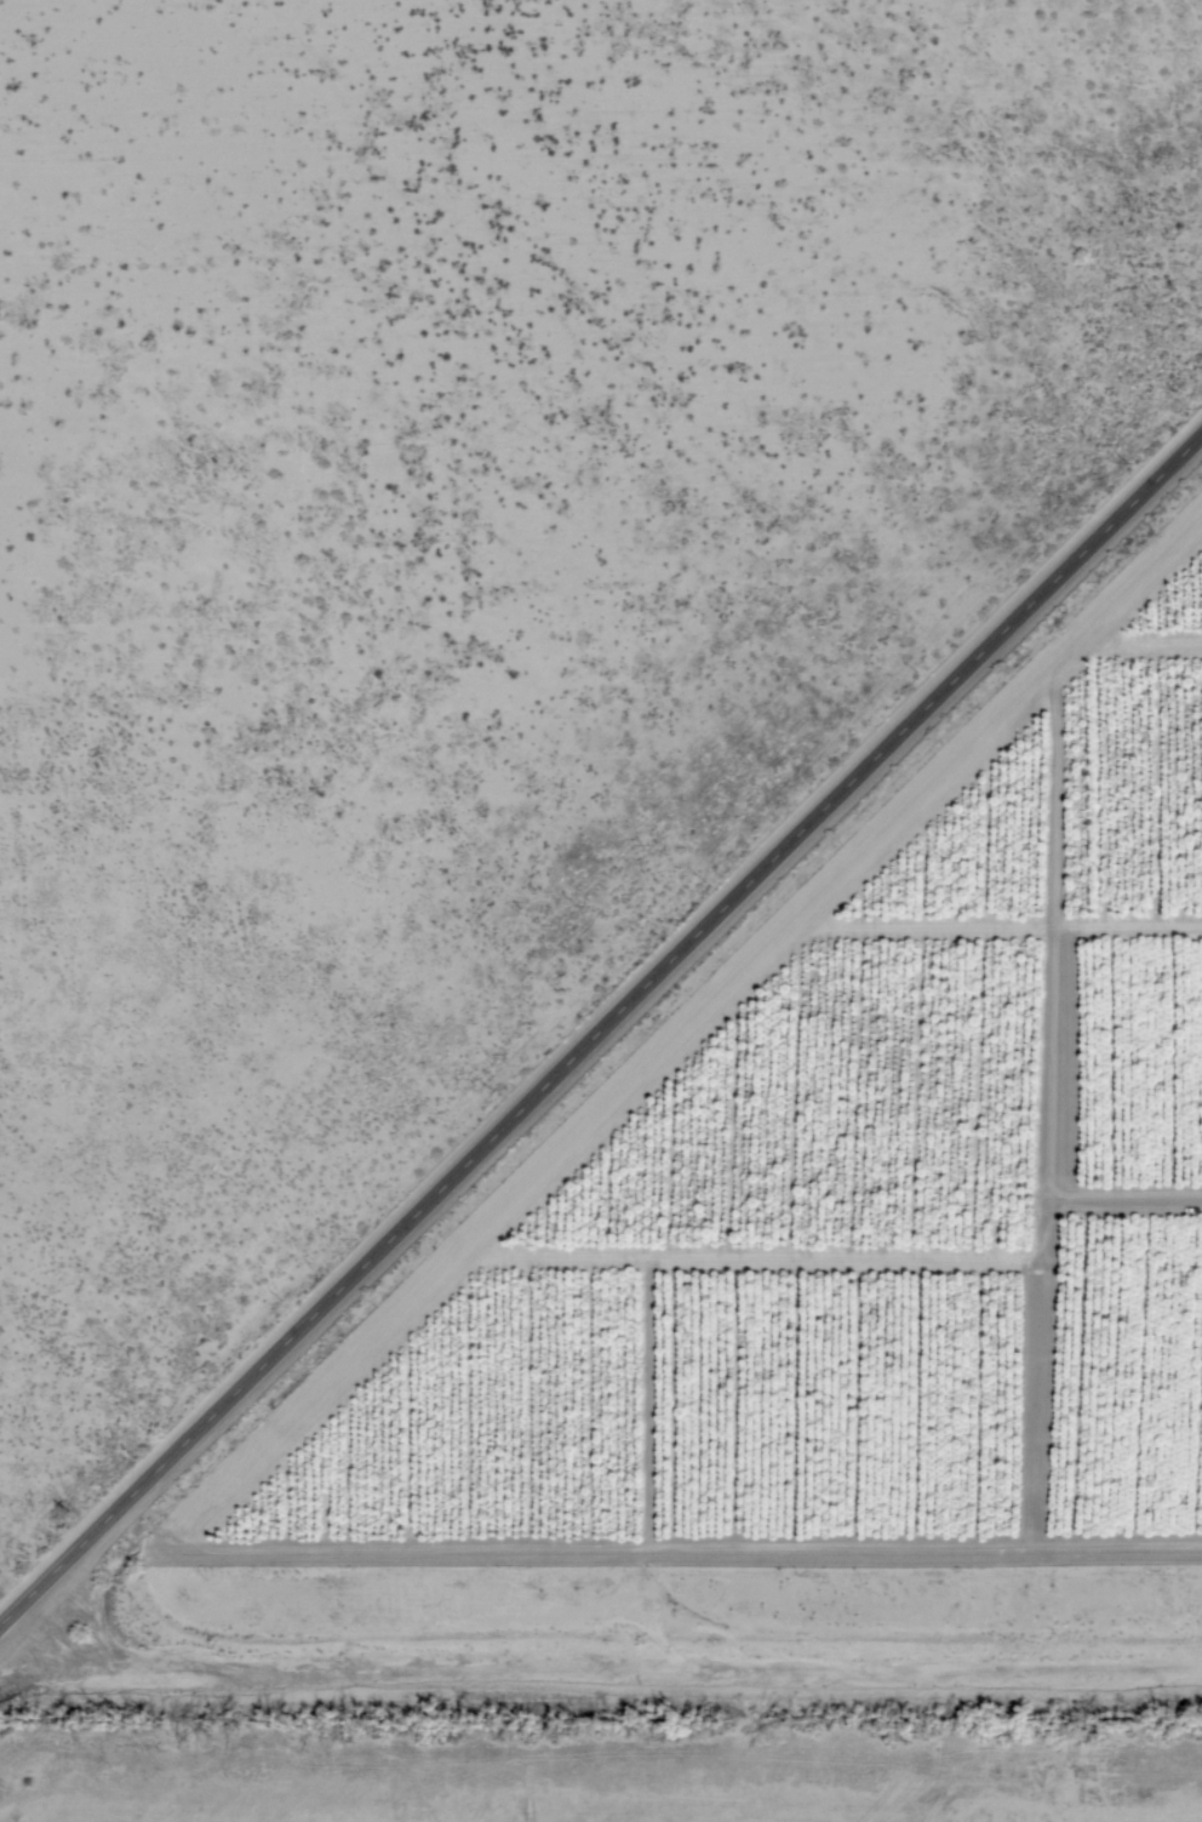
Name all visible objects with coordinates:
building: (865, 767)
road: (599, 1017)
crop: (876, 1203)

